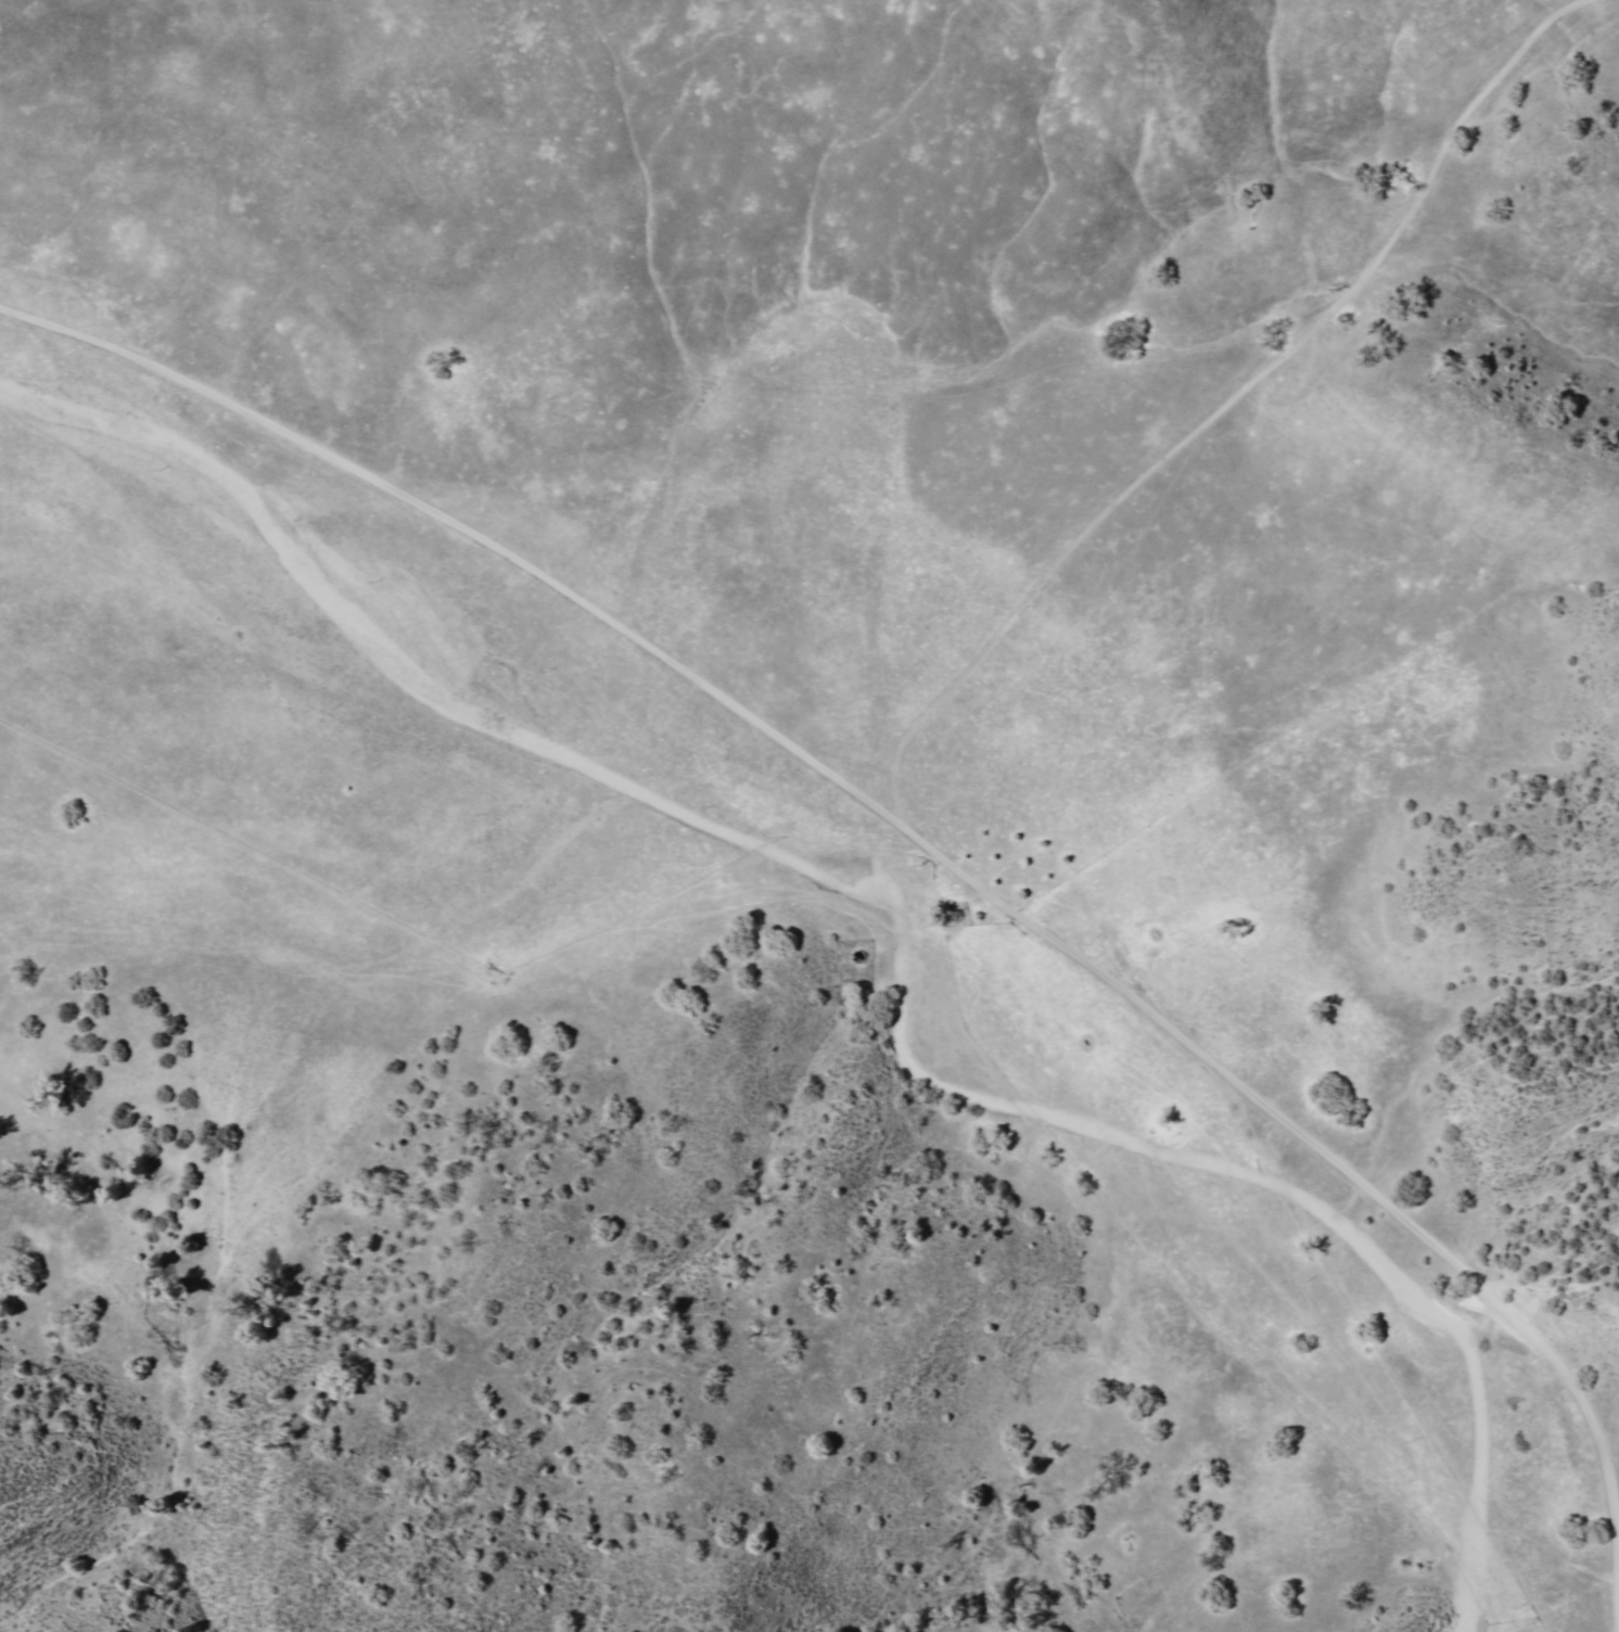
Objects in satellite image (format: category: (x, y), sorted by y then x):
road: (1223, 406)
road: (933, 853)

